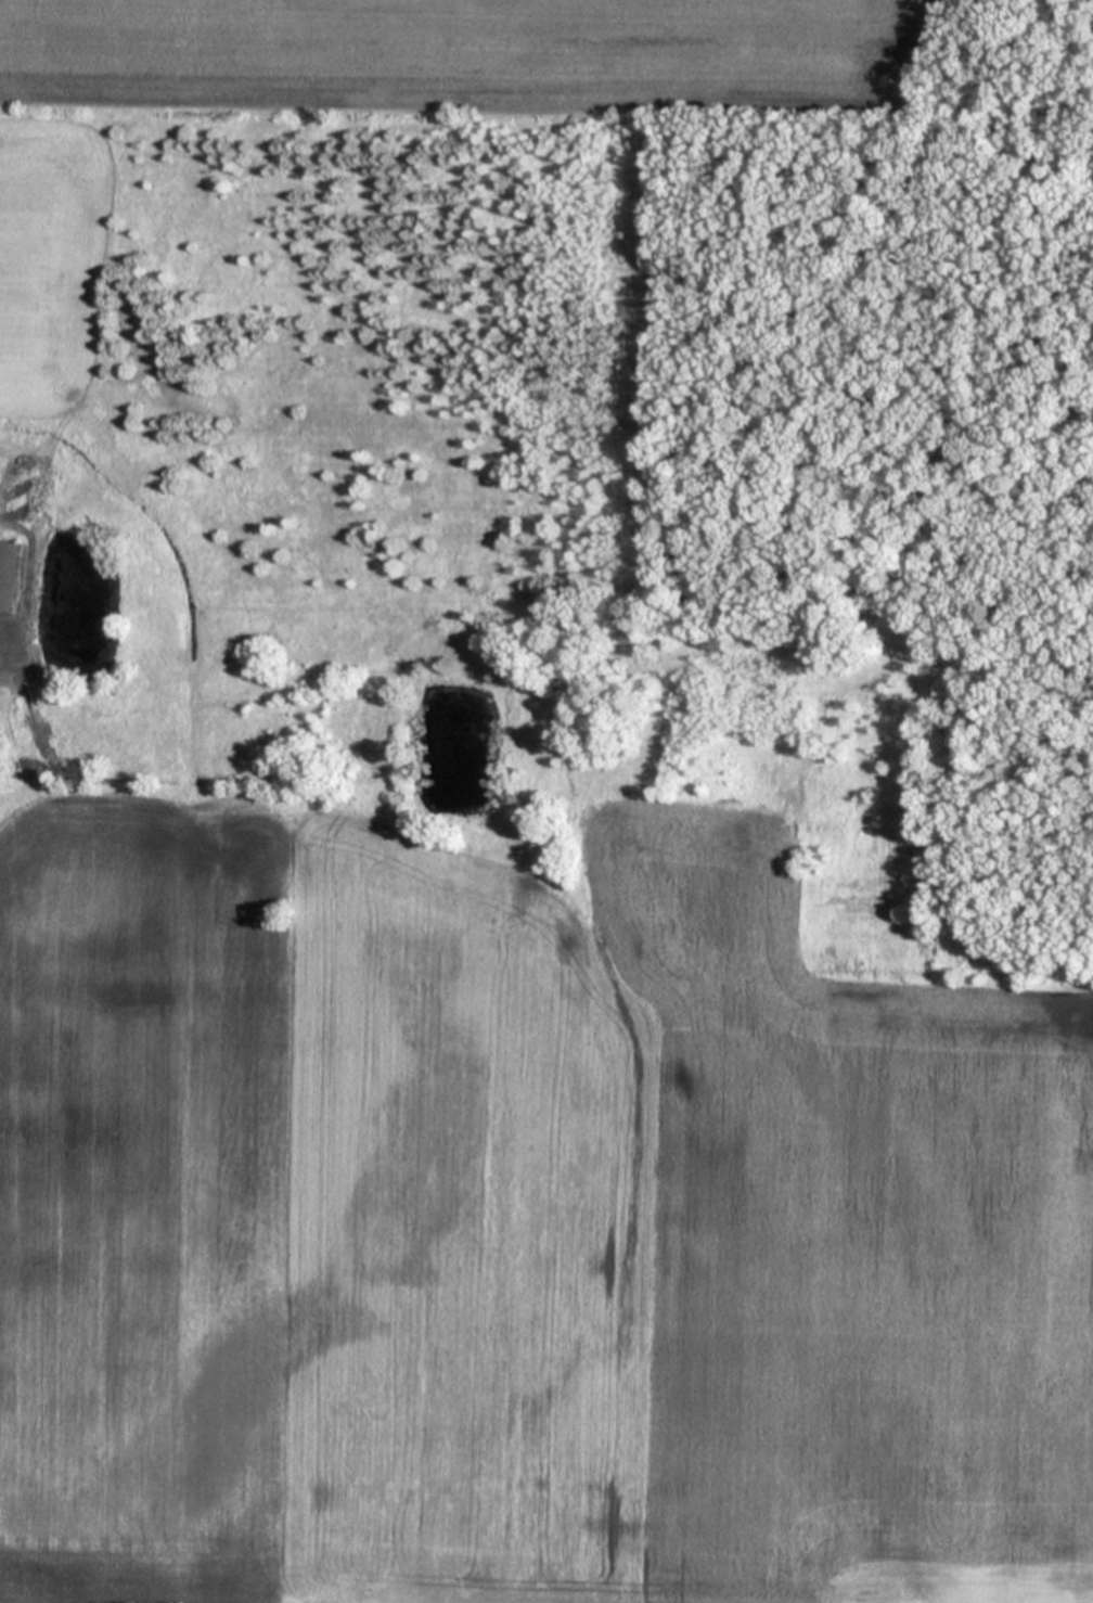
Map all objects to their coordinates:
building: (8, 576)

